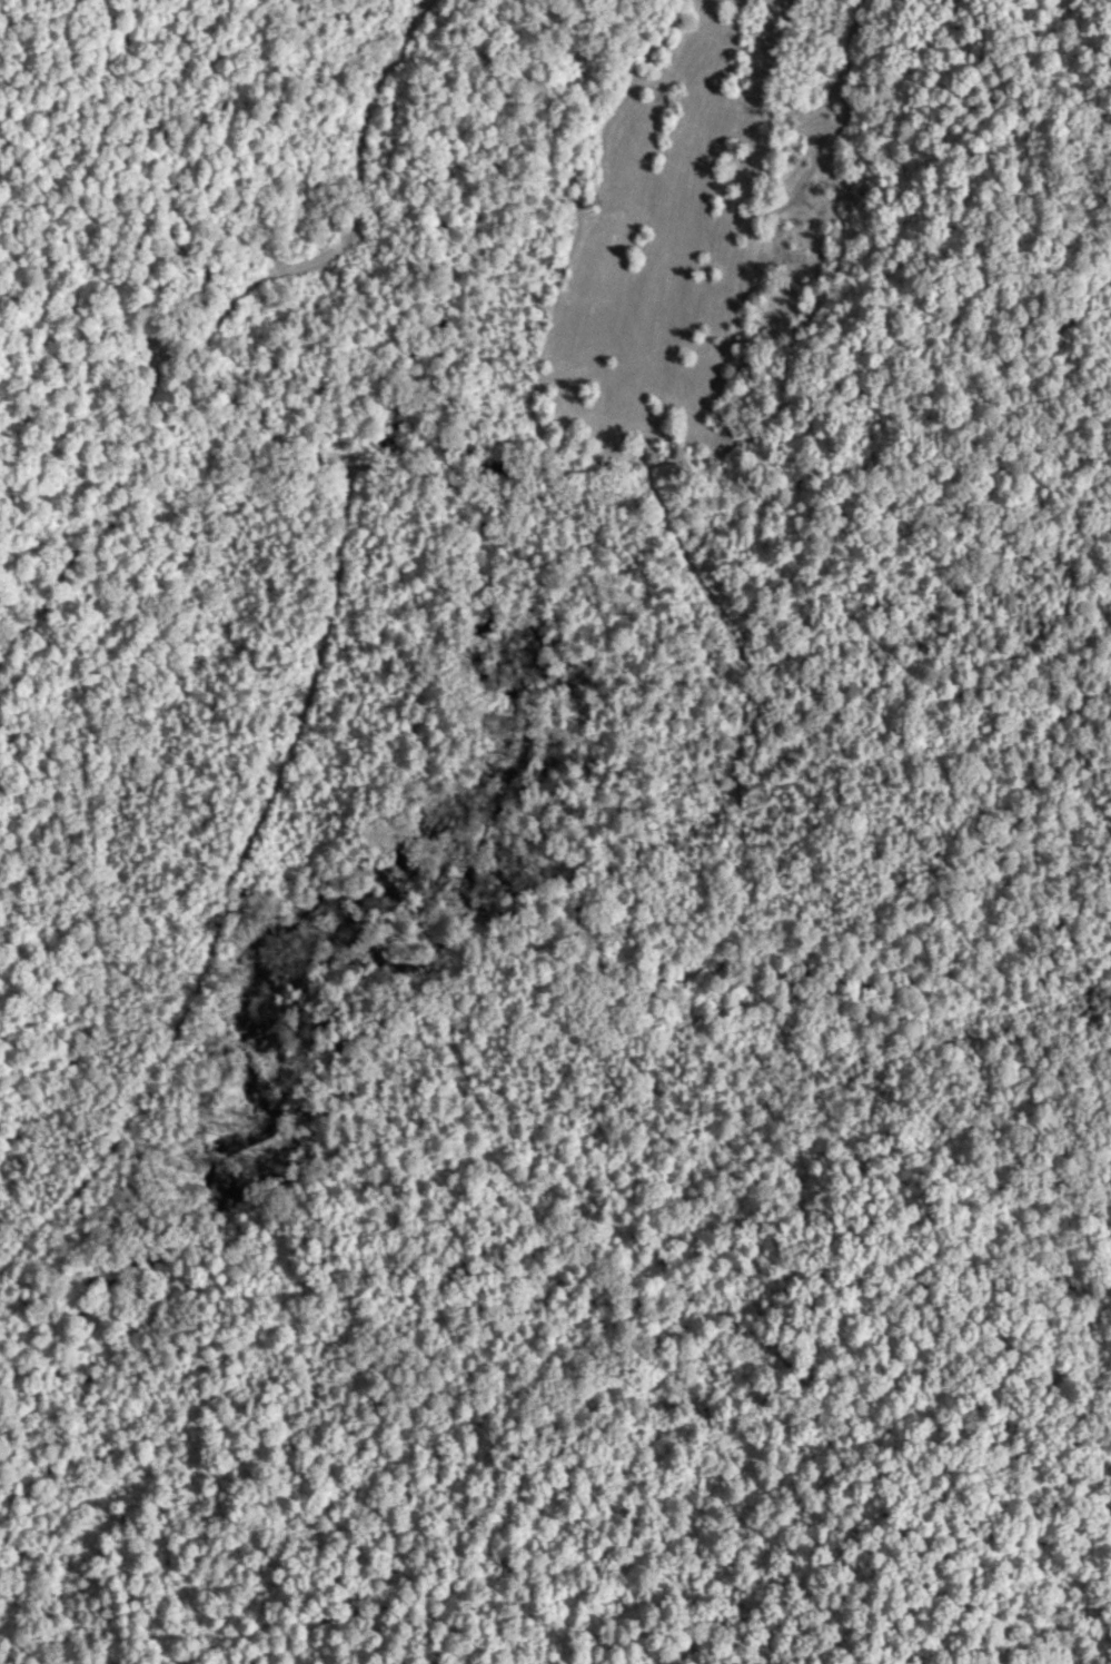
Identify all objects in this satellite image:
road: (221, 324)
road: (825, 1426)

